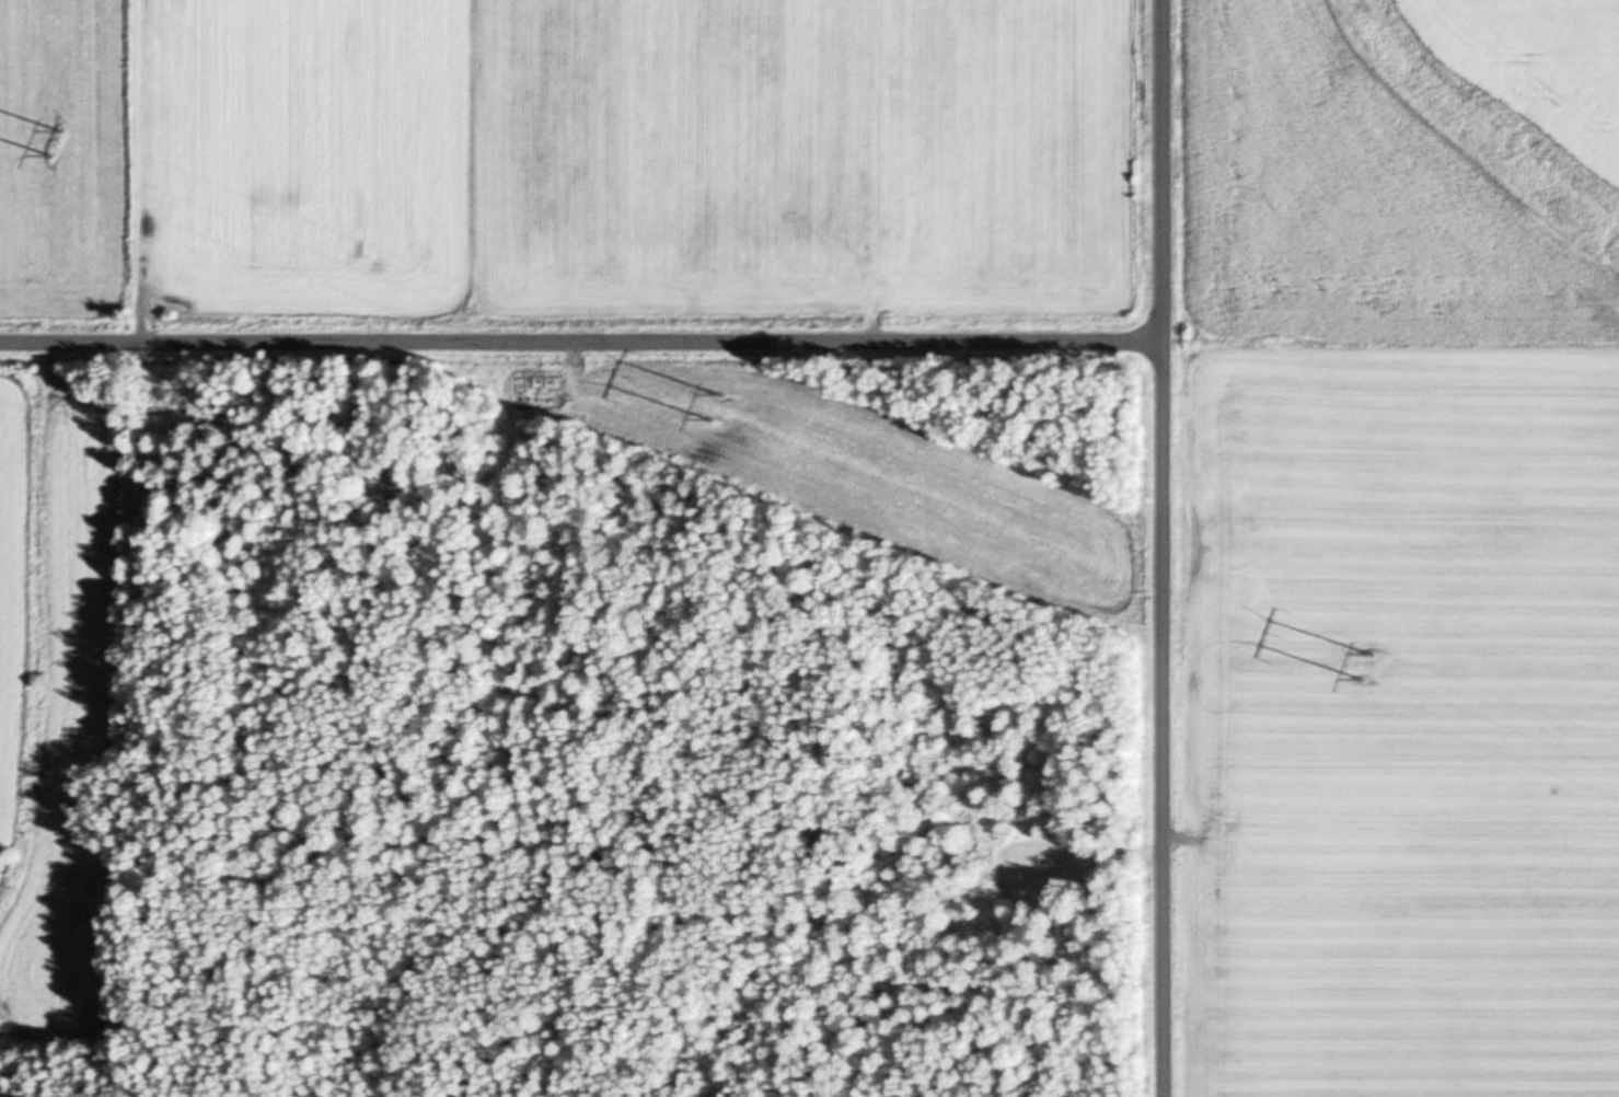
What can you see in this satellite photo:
power tower: (58, 140)
road: (580, 339)
power tower: (718, 403)
road: (1161, 548)
power tower: (1371, 663)

